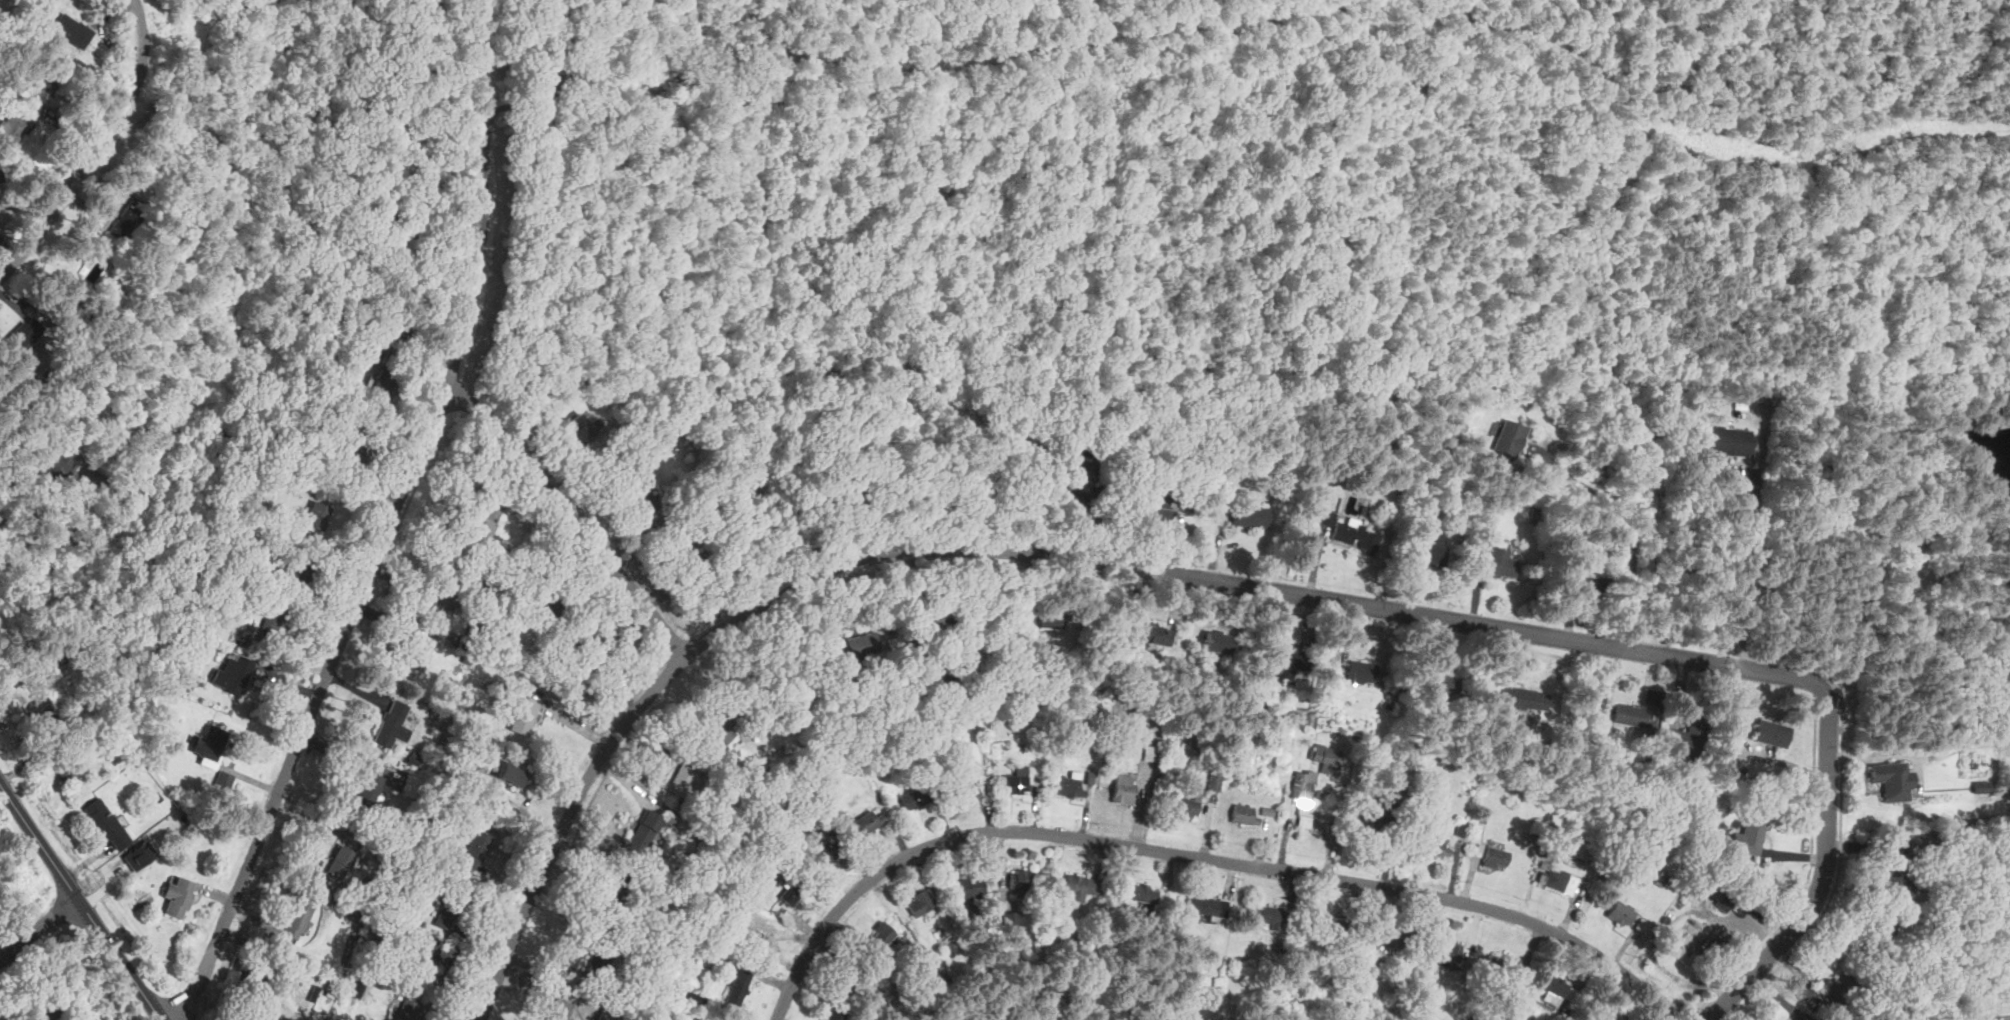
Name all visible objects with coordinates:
road: (1247, 23)
road: (197, 24)
building: (71, 29)
road: (487, 55)
building: (54, 89)
building: (400, 127)
building: (12, 131)
road: (97, 150)
building: (0, 178)
road: (212, 178)
building: (127, 223)
road: (483, 233)
road: (1598, 268)
building: (93, 270)
building: (24, 333)
building: (366, 355)
building: (45, 376)
building: (380, 384)
building: (579, 429)
building: (292, 435)
building: (1509, 437)
building: (1727, 441)
building: (348, 453)
building: (63, 463)
building: (1076, 463)
road: (1045, 483)
building: (639, 495)
road: (21, 506)
building: (1160, 511)
building: (316, 515)
road: (570, 515)
building: (1250, 516)
building: (1326, 517)
building: (478, 523)
road: (1635, 524)
building: (291, 525)
building: (1356, 535)
building: (1431, 548)
building: (686, 551)
building: (1919, 552)
road: (862, 559)
building: (1502, 563)
road: (1102, 564)
road: (1745, 565)
building: (299, 570)
building: (1590, 578)
building: (447, 591)
building: (550, 601)
building: (274, 612)
building: (935, 616)
building: (1041, 616)
road: (1497, 628)
street lamp: (688, 630)
building: (1156, 632)
building: (920, 633)
road: (1848, 637)
building: (1215, 641)
building: (863, 644)
building: (419, 653)
building: (592, 653)
building: (57, 658)
building: (1285, 660)
building: (1363, 672)
building: (233, 674)
building: (180, 680)
building: (1444, 683)
road: (321, 687)
building: (1525, 698)
building: (1091, 705)
building: (1111, 708)
building: (42, 711)
building: (1633, 714)
building: (524, 716)
road: (567, 719)
building: (724, 722)
building: (393, 724)
street lamp: (602, 730)
building: (1771, 732)
building: (1686, 738)
building: (211, 743)
building: (1588, 745)
building: (1149, 753)
building: (1326, 757)
building: (67, 769)
building: (512, 774)
building: (682, 778)
building: (1214, 779)
building: (1892, 779)
building: (224, 780)
building: (1016, 782)
building: (1983, 784)
building: (1071, 786)
building: (1302, 786)
building: (961, 787)
building: (1124, 788)
building: (368, 792)
building: (914, 799)
building: (1185, 807)
building: (1374, 810)
road: (568, 812)
building: (1244, 814)
building: (1304, 820)
building: (871, 821)
building: (106, 822)
building: (643, 833)
building: (1749, 836)
building: (1435, 847)
building: (474, 849)
building: (824, 853)
building: (139, 856)
street lamp: (534, 856)
road: (1200, 856)
building: (1495, 857)
building: (339, 862)
road: (1823, 873)
building: (1896, 877)
building: (1661, 878)
building: (1022, 879)
building: (1556, 879)
building: (1081, 885)
street lamp: (49, 887)
building: (970, 888)
building: (1141, 892)
building: (791, 893)
building: (615, 895)
building: (179, 897)
road: (79, 902)
building: (920, 902)
building: (1722, 903)
building: (1208, 907)
building: (449, 909)
building: (1621, 913)
building: (1267, 916)
building: (298, 919)
building: (1012, 920)
building: (1641, 925)
building: (1334, 926)
road: (37, 927)
building: (765, 931)
building: (1881, 931)
building: (882, 934)
building: (372, 935)
building: (1392, 938)
building: (1681, 947)
building: (1449, 951)
road: (1, 954)
street lamp: (492, 957)
building: (426, 961)
building: (599, 963)
building: (1373, 965)
building: (1504, 965)
building: (566, 973)
building: (847, 977)
building: (246, 985)
building: (332, 985)
building: (737, 985)
road: (1975, 985)
building: (1553, 986)
building: (356, 987)
building: (1842, 988)
building: (693, 997)
building: (408, 1009)
building: (560, 1009)
building: (45, 1011)
building: (607, 1015)
building: (835, 1015)
building: (1603, 1015)
road: (259, 1018)

